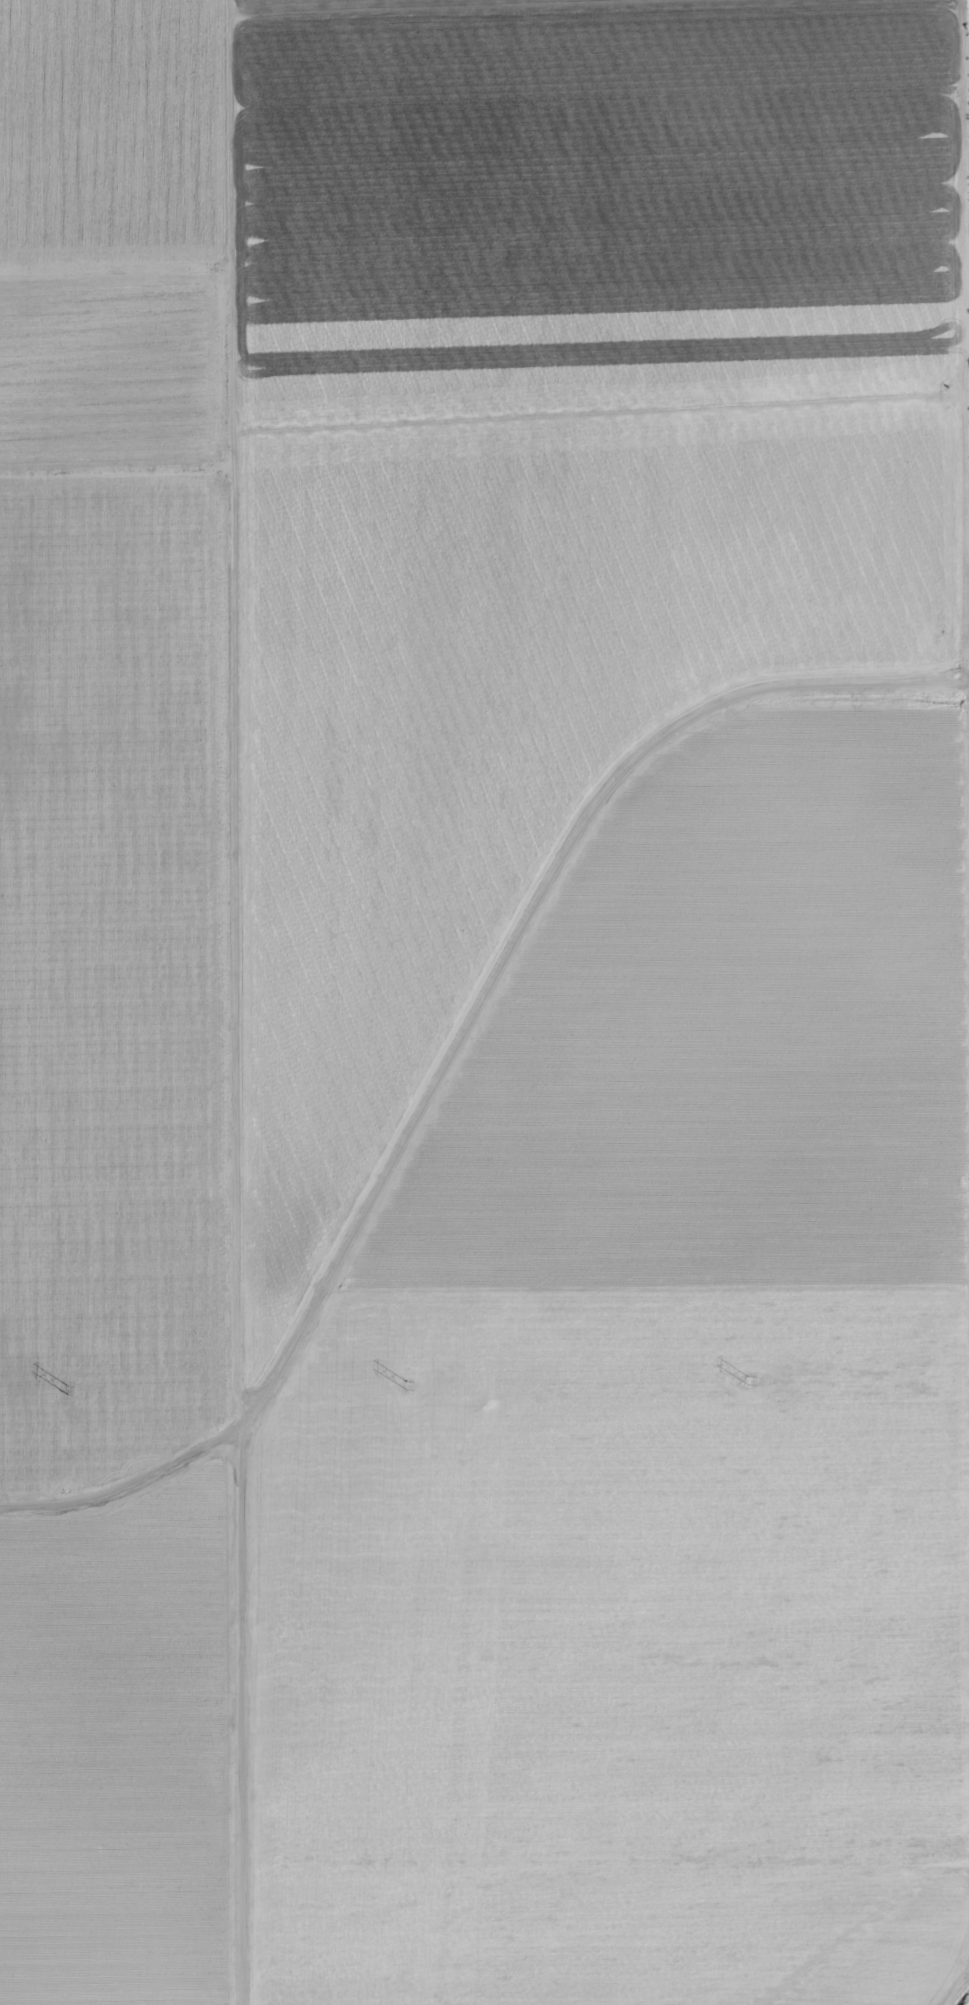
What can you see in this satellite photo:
road: (461, 1056)
power tower: (747, 1380)
power tower: (406, 1385)
power tower: (68, 1390)

